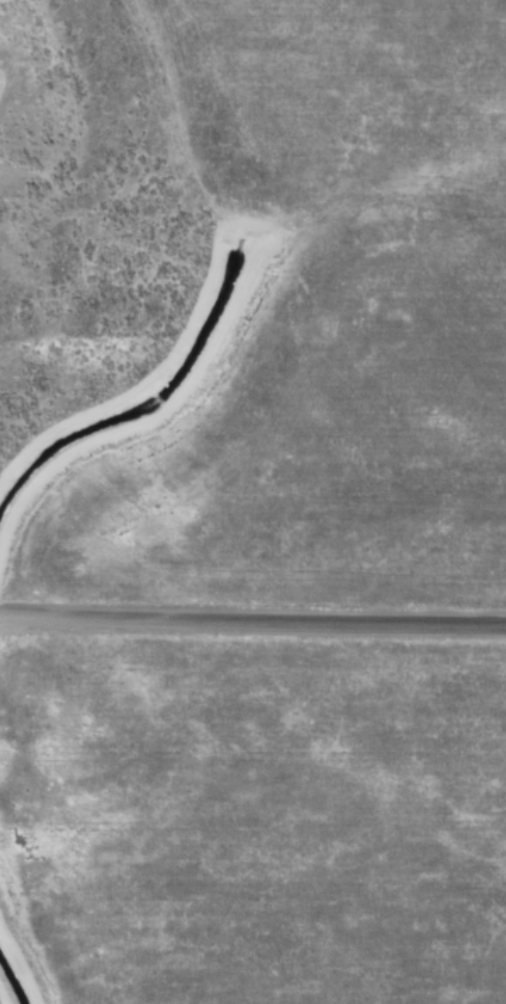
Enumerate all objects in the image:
road: (253, 619)

